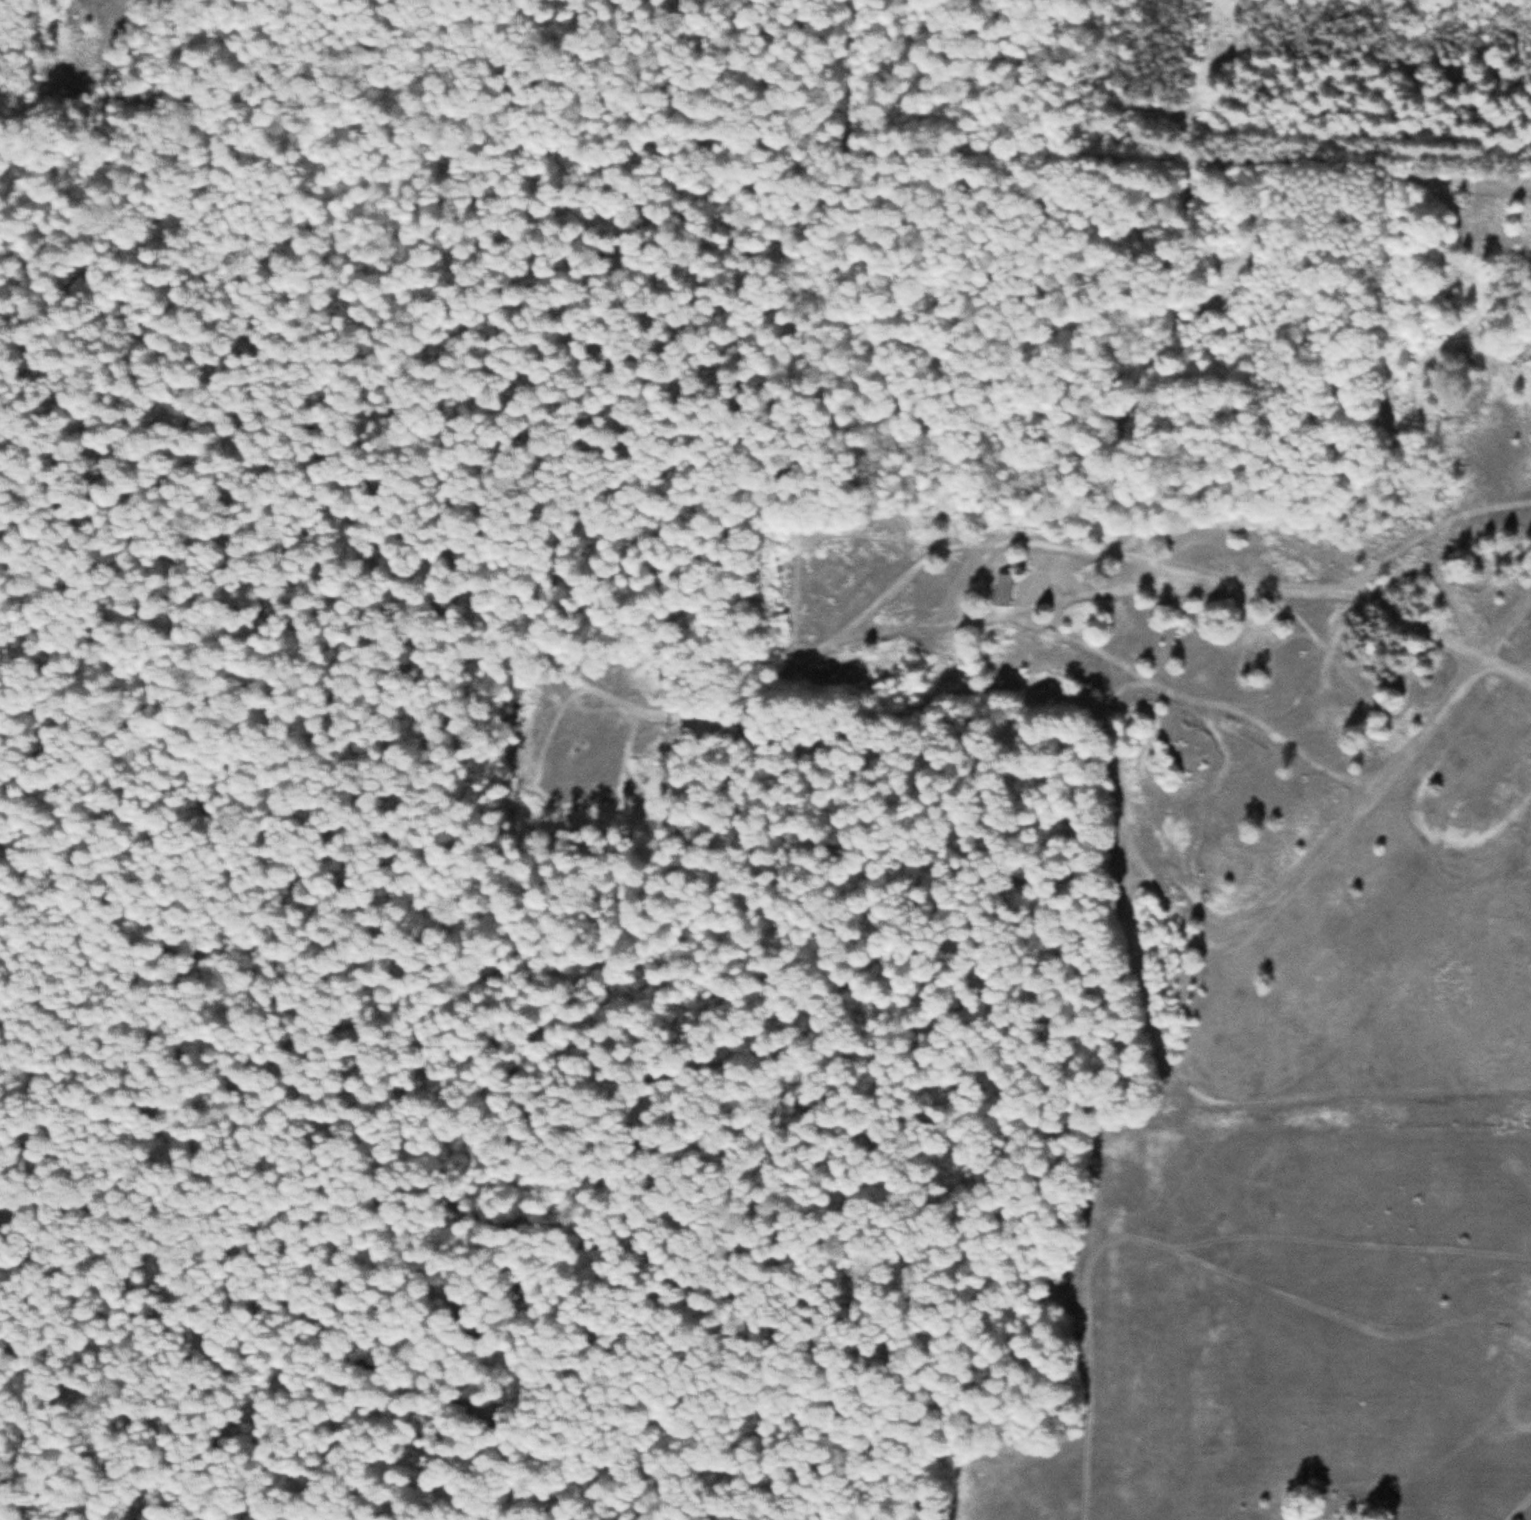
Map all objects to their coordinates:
building: (1001, 590)

